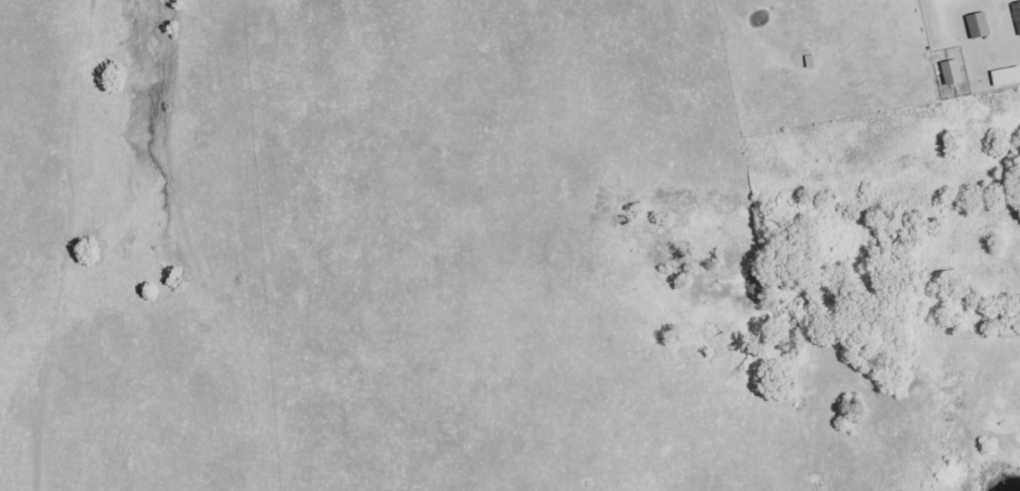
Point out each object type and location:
building: (977, 25)
building: (950, 71)
building: (1005, 76)

